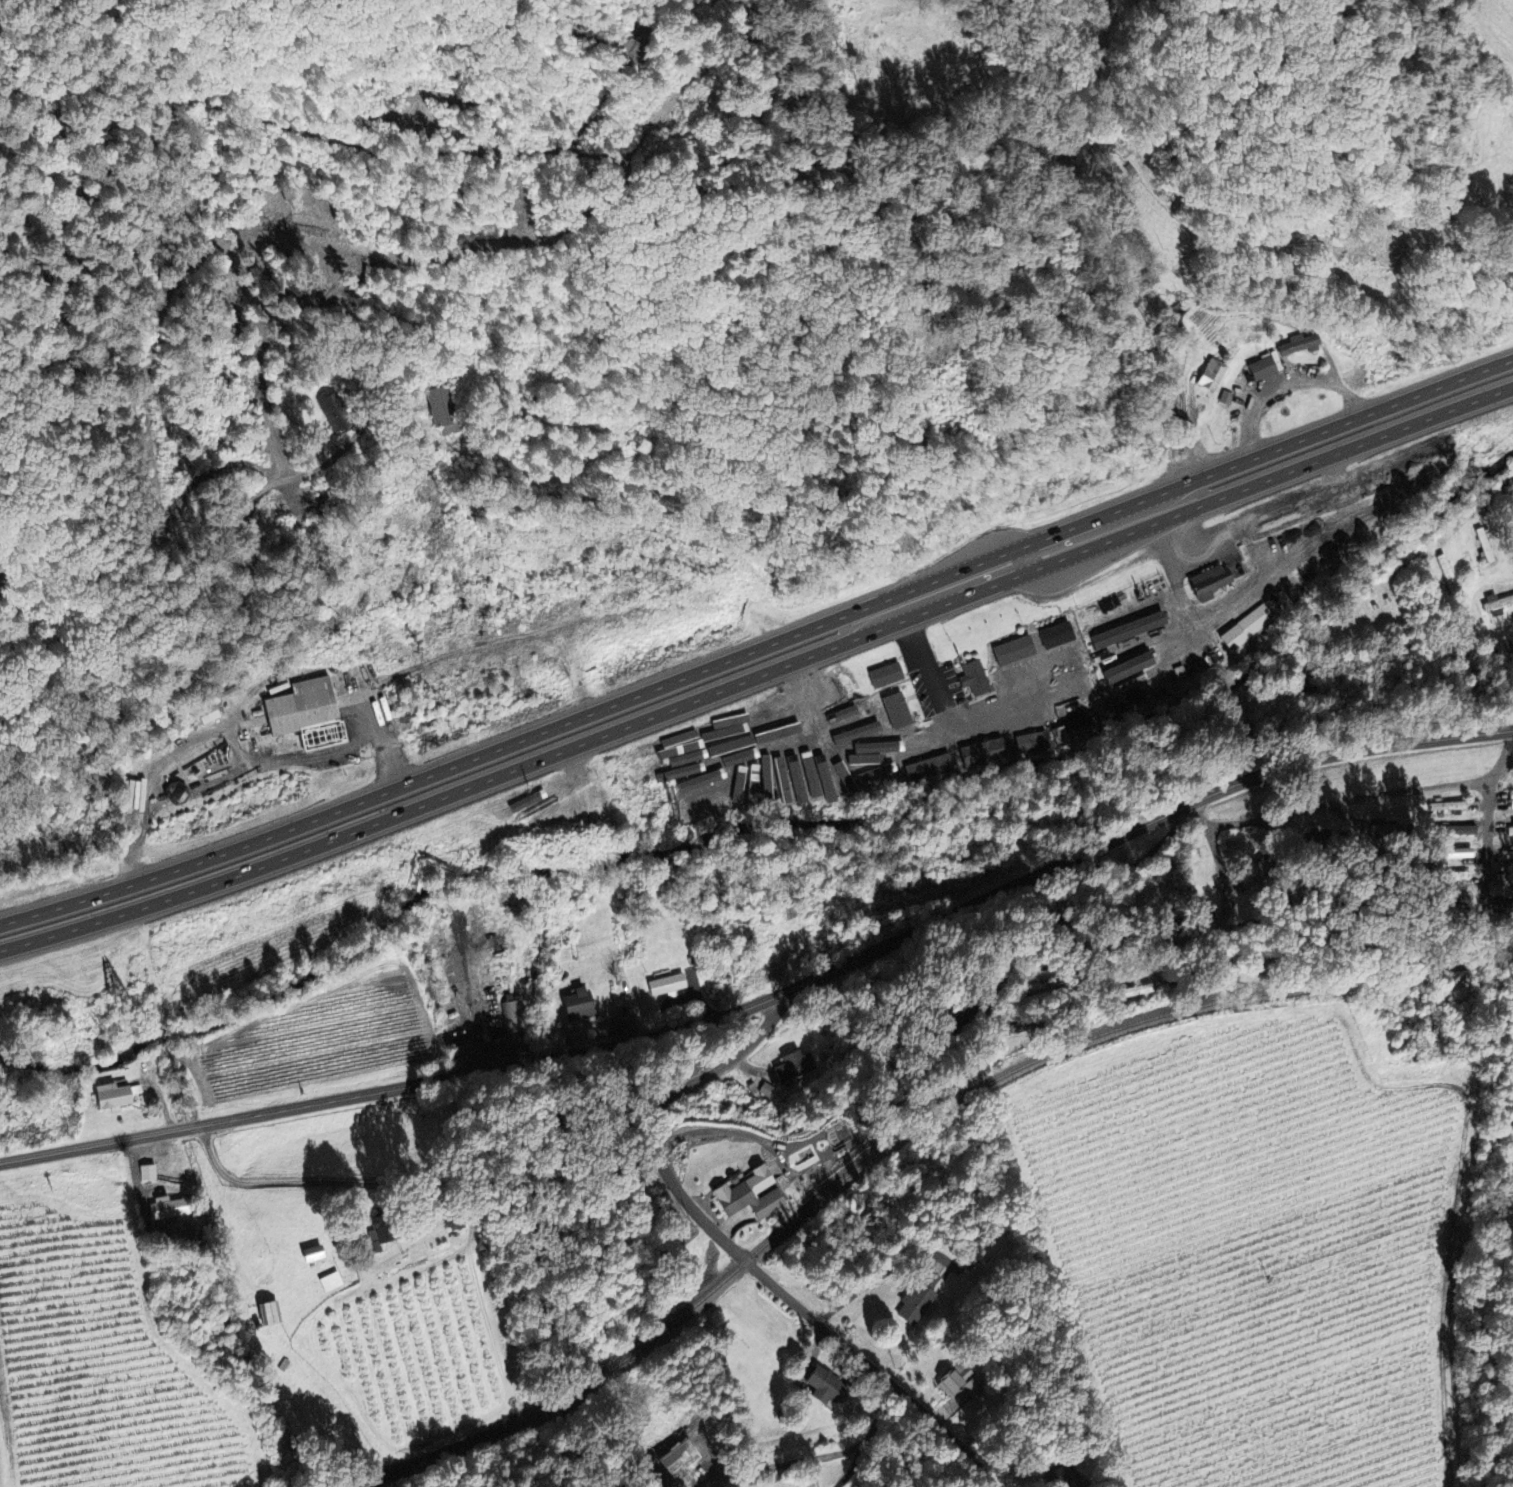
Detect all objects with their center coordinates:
road: (11, 184)
road: (21, 189)
building: (1208, 375)
building: (441, 409)
road: (1502, 505)
road: (1369, 536)
building: (1206, 582)
building: (1243, 627)
building: (1121, 630)
building: (1052, 634)
road: (759, 647)
building: (1009, 650)
building: (1120, 667)
road: (758, 675)
building: (880, 675)
building: (987, 676)
building: (1069, 688)
road: (238, 712)
building: (307, 716)
building: (844, 720)
building: (1056, 734)
building: (918, 741)
building: (980, 752)
building: (926, 767)
building: (877, 771)
building: (826, 782)
building: (807, 789)
road: (1361, 799)
building: (1444, 805)
building: (1457, 829)
road: (1492, 847)
building: (1451, 853)
road: (1075, 930)
road: (1207, 937)
building: (667, 987)
road: (773, 996)
building: (578, 1007)
building: (512, 1019)
building: (796, 1067)
building: (769, 1092)
railway: (897, 1142)
building: (150, 1175)
road: (312, 1180)
building: (751, 1197)
building: (170, 1210)
building: (382, 1238)
road: (740, 1252)
building: (313, 1255)
building: (332, 1283)
building: (917, 1298)
building: (270, 1314)
building: (949, 1382)
building: (827, 1387)
road: (820, 1455)

